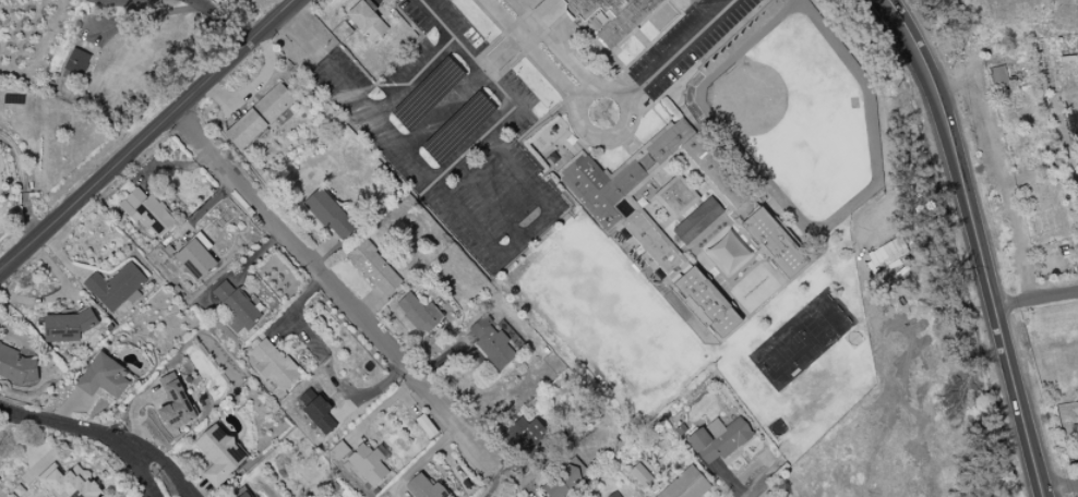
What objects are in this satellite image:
building: (600, 15)
road: (227, 20)
building: (367, 22)
road: (543, 48)
road: (675, 50)
road: (506, 52)
building: (76, 63)
building: (997, 76)
road: (415, 77)
road: (598, 90)
road: (505, 98)
road: (443, 111)
building: (259, 117)
road: (146, 135)
road: (23, 182)
building: (602, 197)
building: (675, 197)
road: (446, 201)
road: (488, 203)
building: (147, 211)
building: (330, 215)
building: (697, 221)
building: (774, 243)
road: (977, 243)
building: (886, 255)
building: (196, 258)
building: (374, 268)
road: (331, 280)
building: (116, 287)
building: (707, 302)
road: (1035, 302)
building: (237, 307)
building: (419, 314)
building: (67, 327)
building: (491, 343)
building: (273, 364)
building: (17, 366)
building: (103, 377)
building: (175, 402)
building: (320, 414)
road: (92, 433)
building: (520, 434)
building: (719, 439)
building: (219, 454)
road: (167, 463)
building: (369, 463)
road: (494, 475)
building: (564, 480)
building: (70, 483)
road: (764, 484)
building: (686, 485)
road: (1061, 486)
building: (423, 488)
building: (244, 495)
building: (614, 495)

